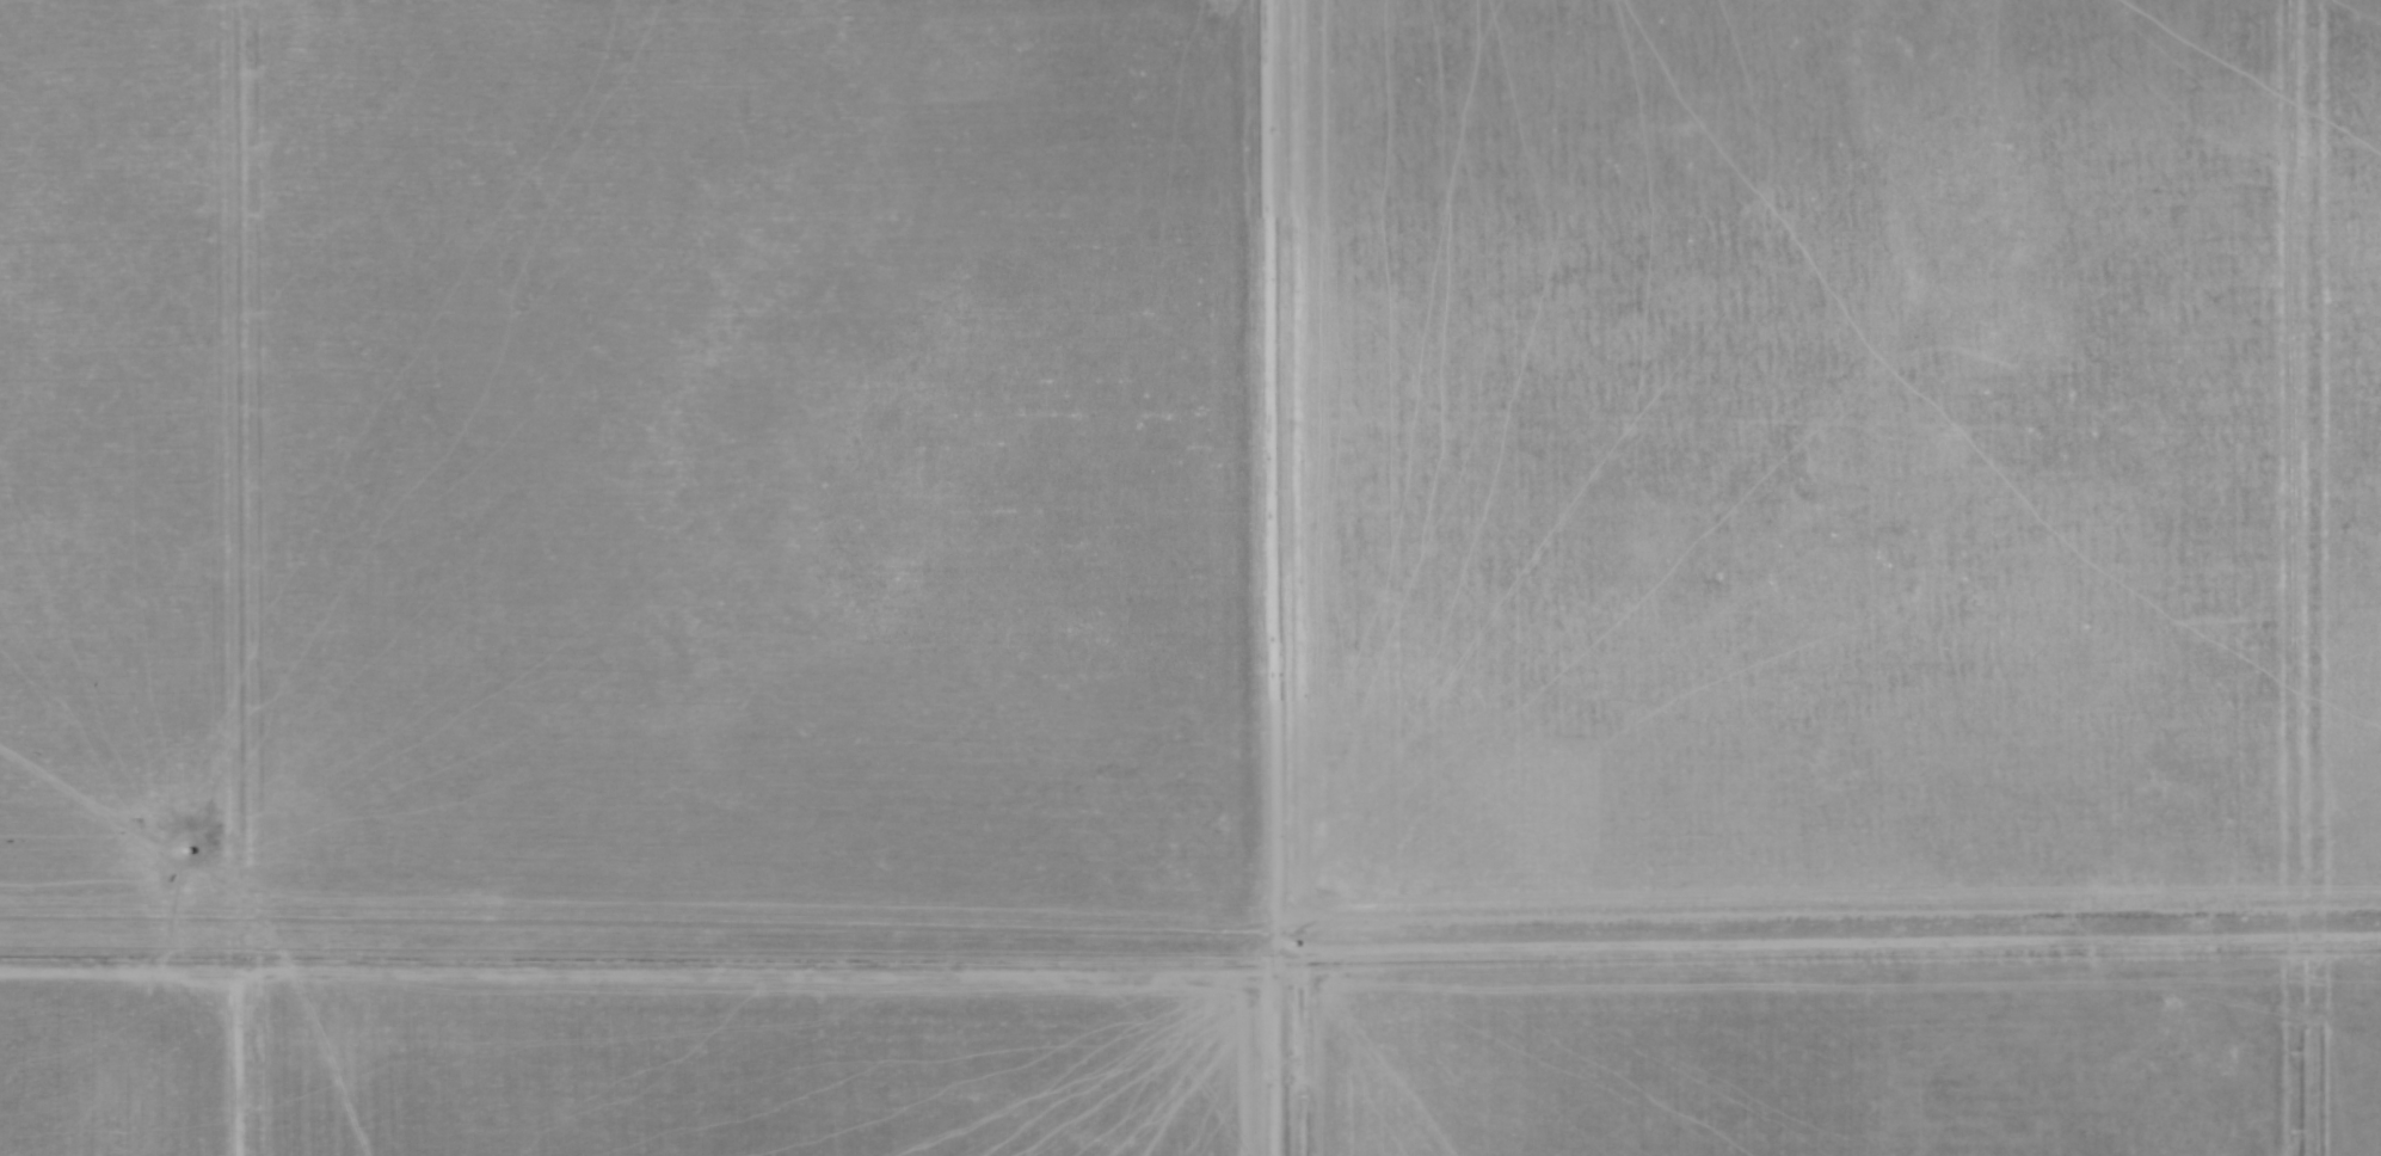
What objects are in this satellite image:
crop: (1190, 578)

